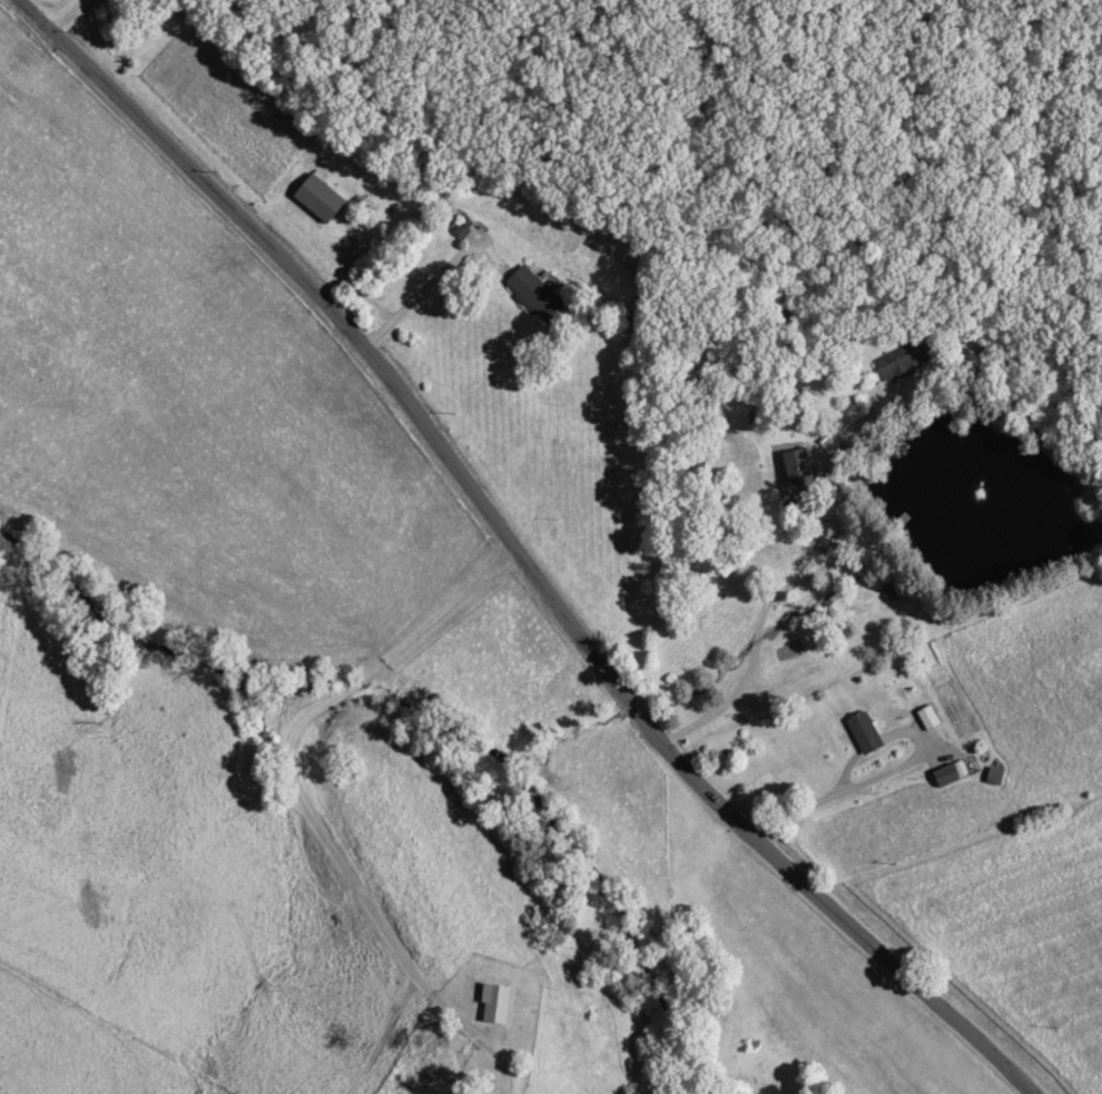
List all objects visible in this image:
road: (67, 16)
building: (315, 200)
building: (461, 228)
road: (435, 285)
building: (531, 296)
building: (901, 361)
building: (796, 471)
road: (521, 552)
road: (803, 584)
building: (926, 719)
building: (862, 733)
building: (944, 777)
building: (993, 777)
road: (850, 795)
road: (307, 799)

